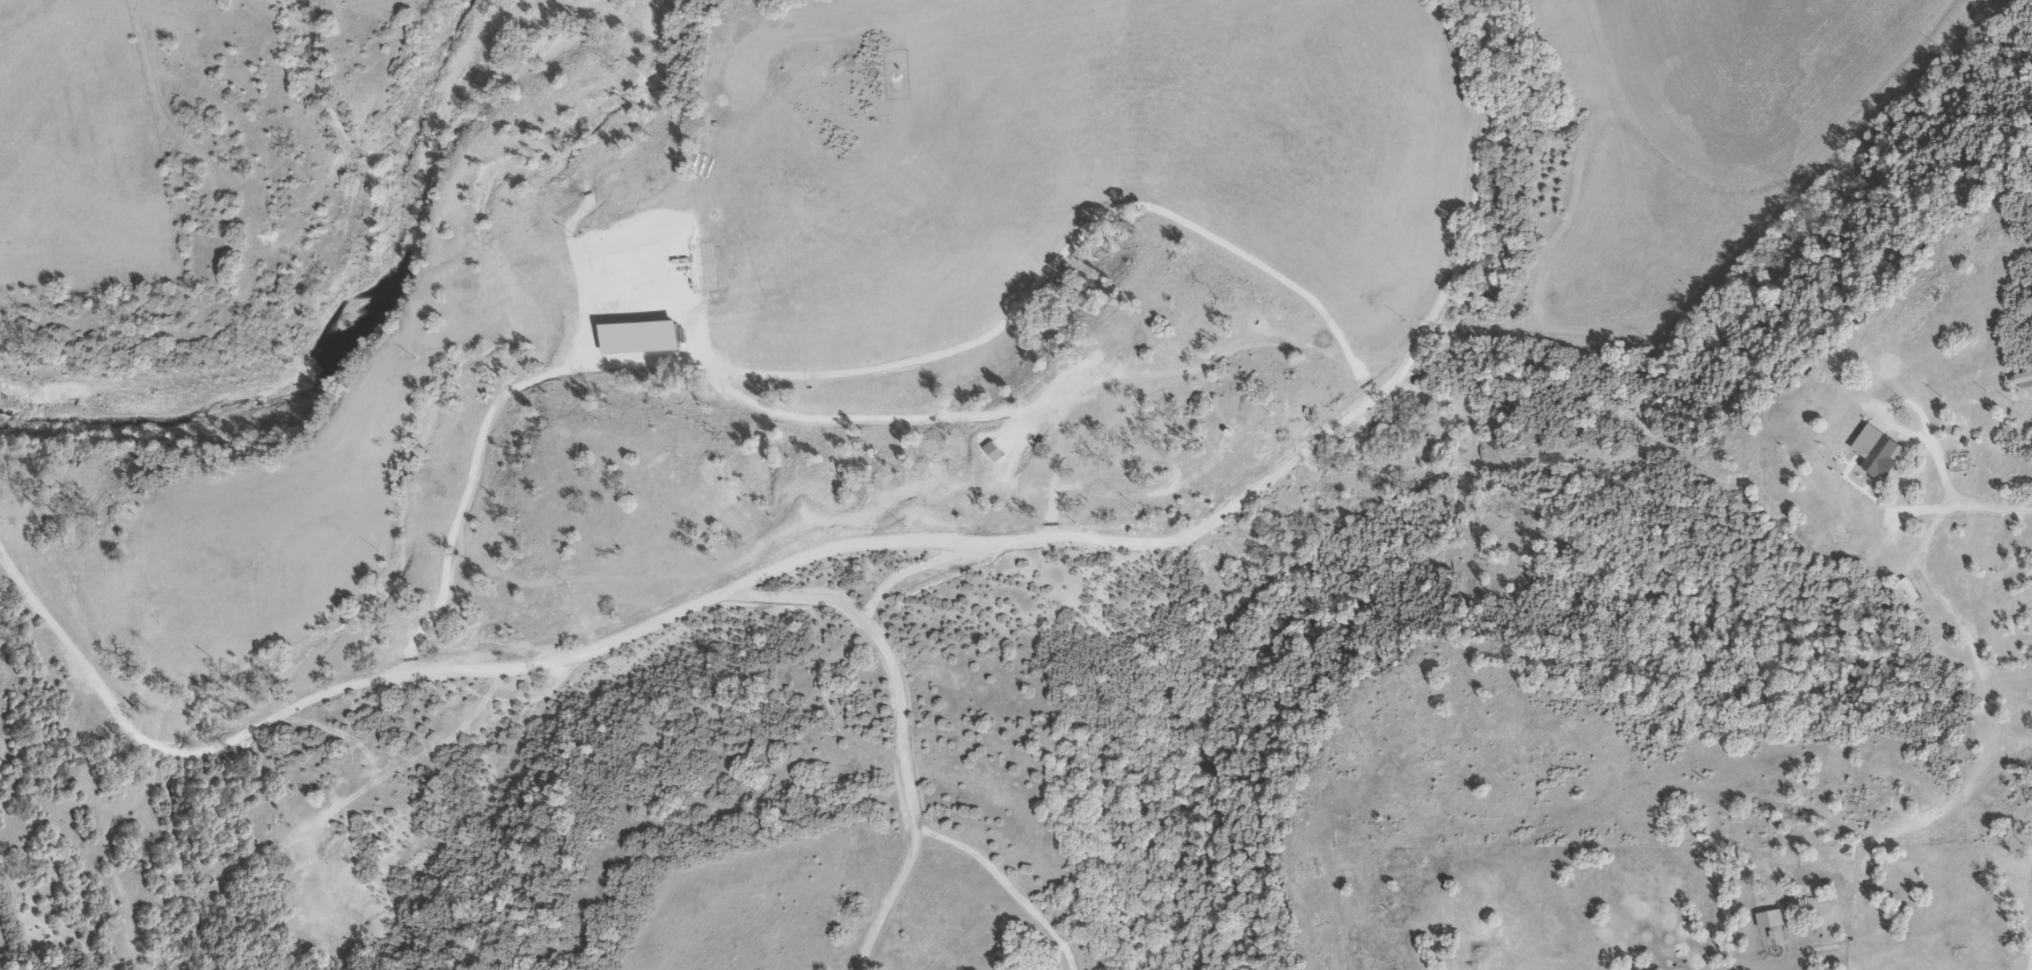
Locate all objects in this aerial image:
road: (862, 533)

